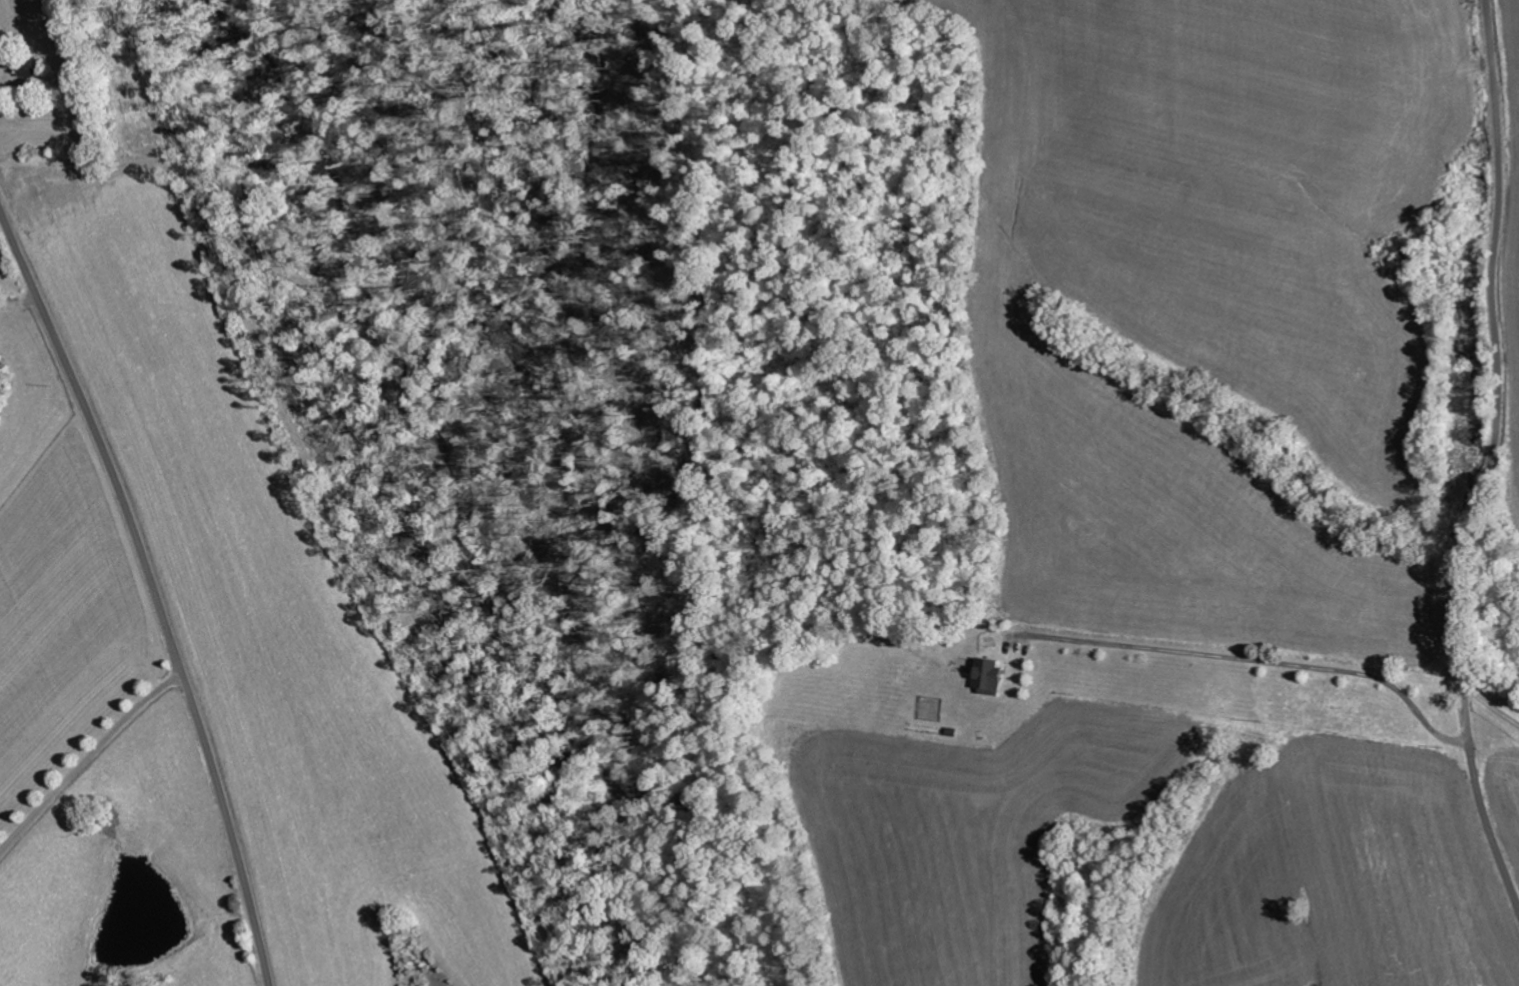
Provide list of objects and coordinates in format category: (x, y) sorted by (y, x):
road: (1487, 460)
road: (151, 593)
building: (985, 674)

